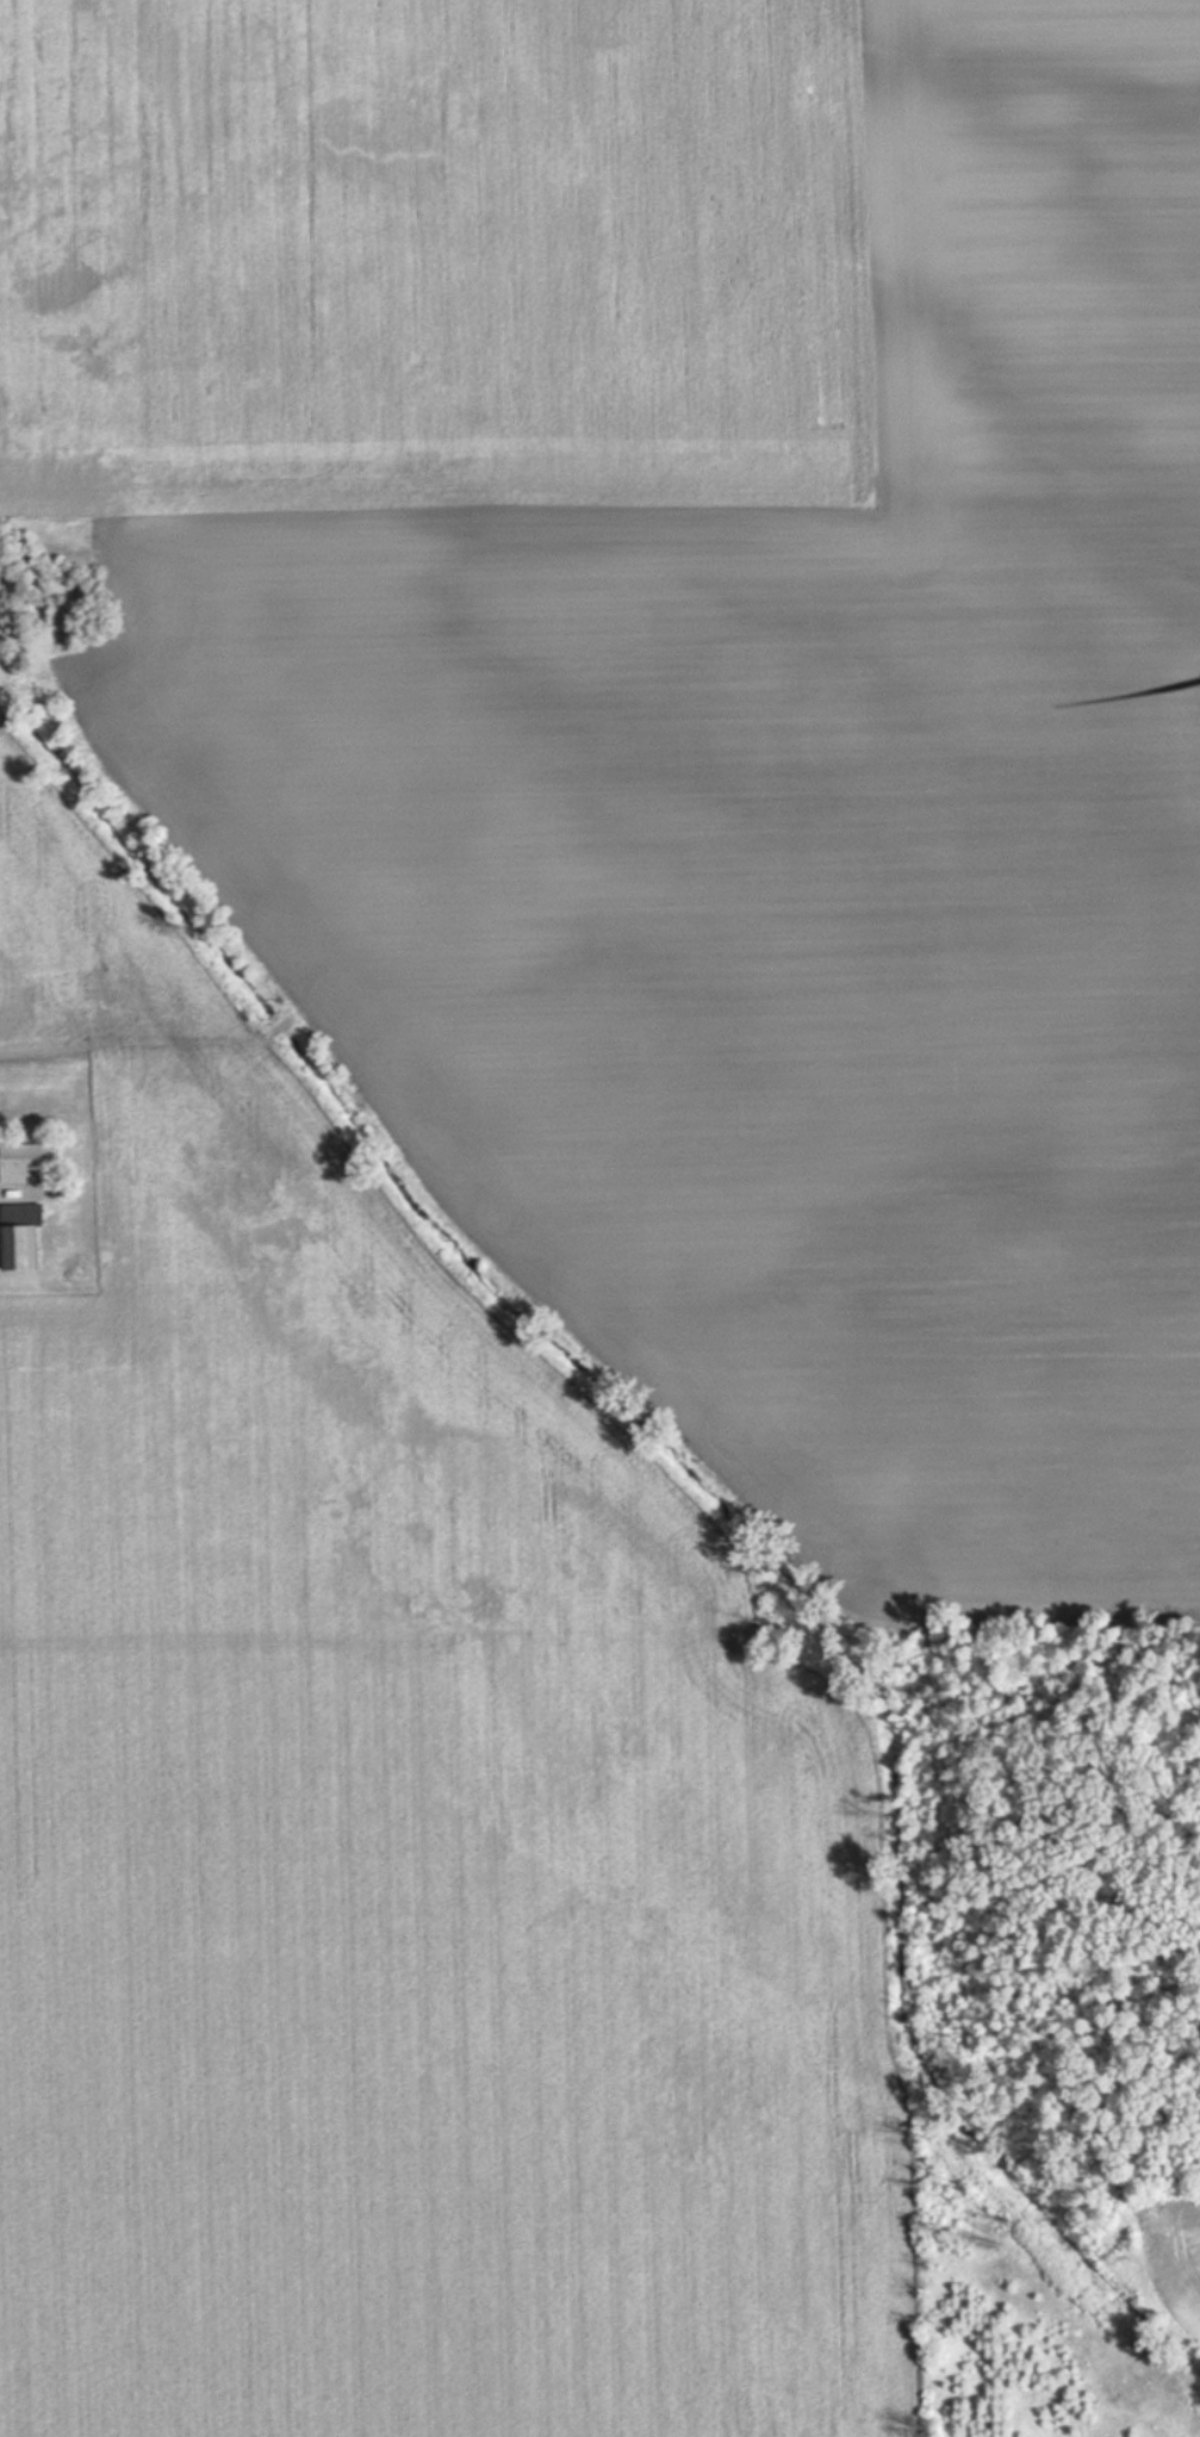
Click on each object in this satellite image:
building: (25, 1162)
building: (18, 1233)

